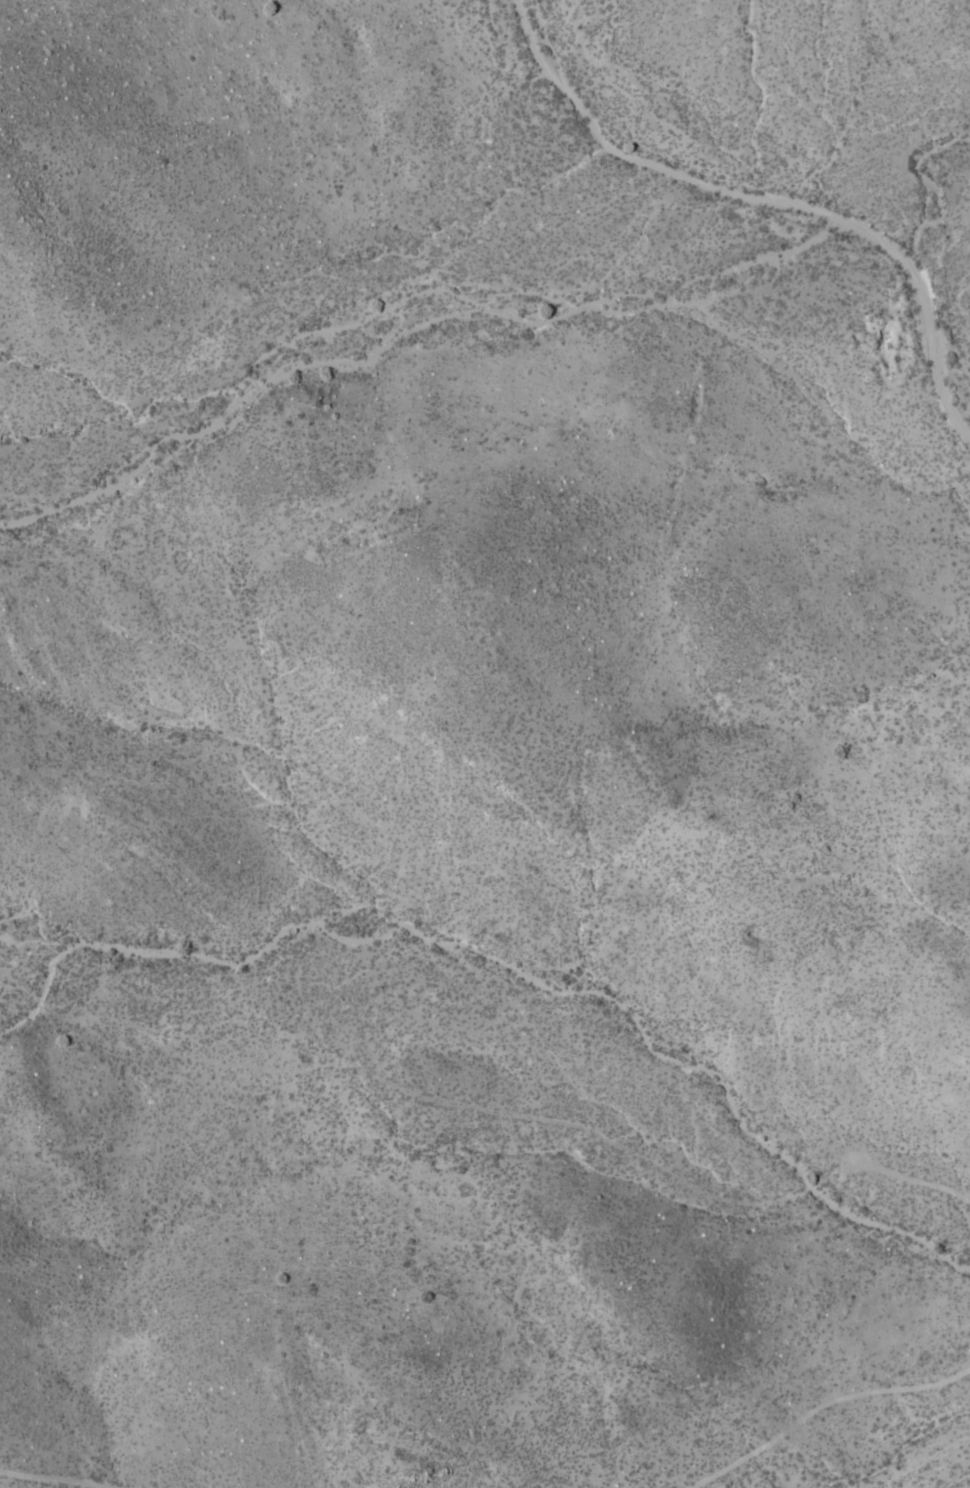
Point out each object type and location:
road: (766, 201)
road: (420, 1095)
road: (908, 1178)
road: (820, 1406)
road: (52, 1480)
road: (109, 1487)

